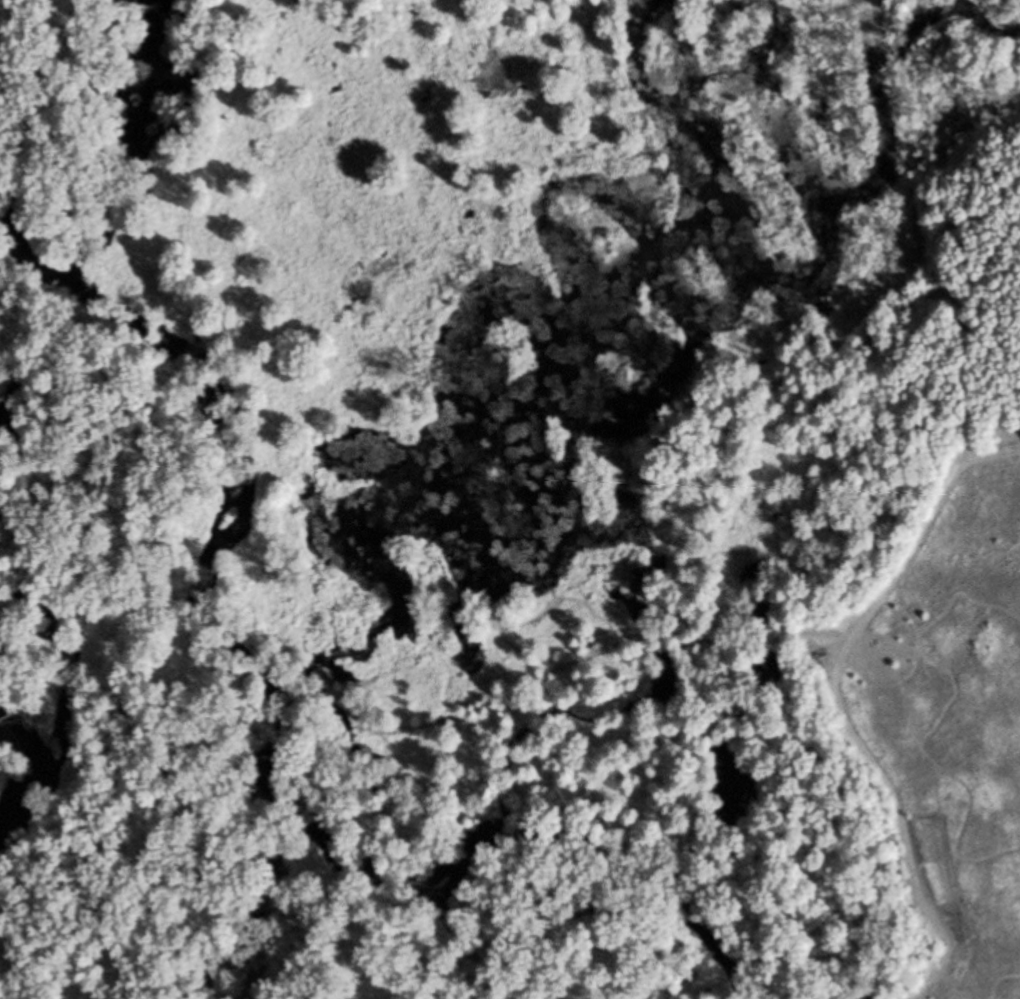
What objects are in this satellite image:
crop: (953, 729)

